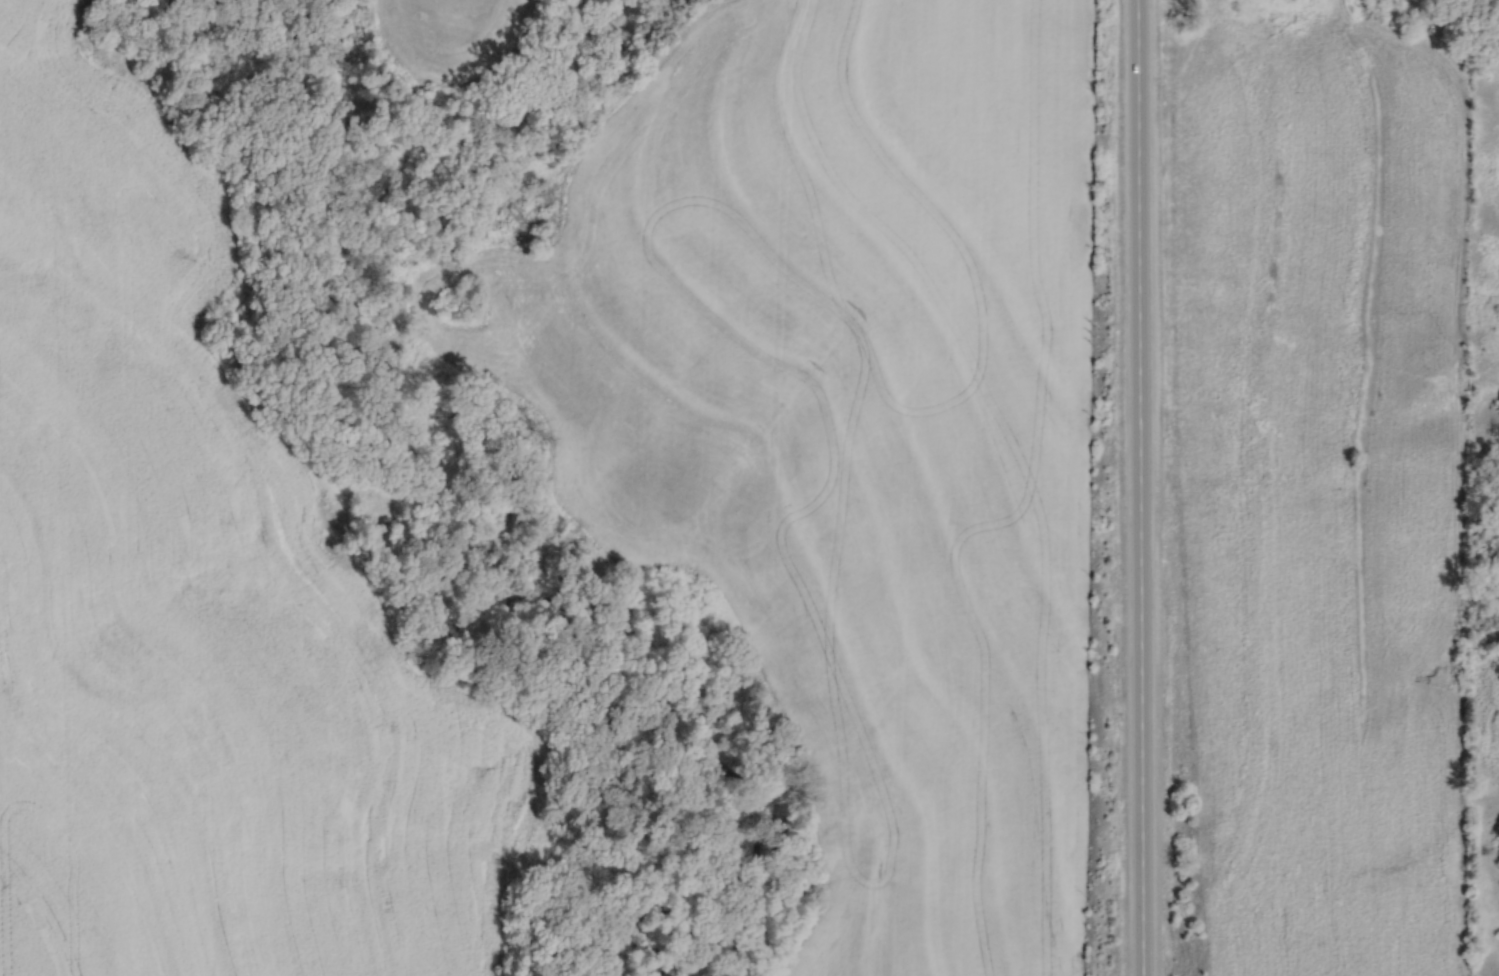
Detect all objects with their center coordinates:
building: (441, 227)
road: (1142, 487)

